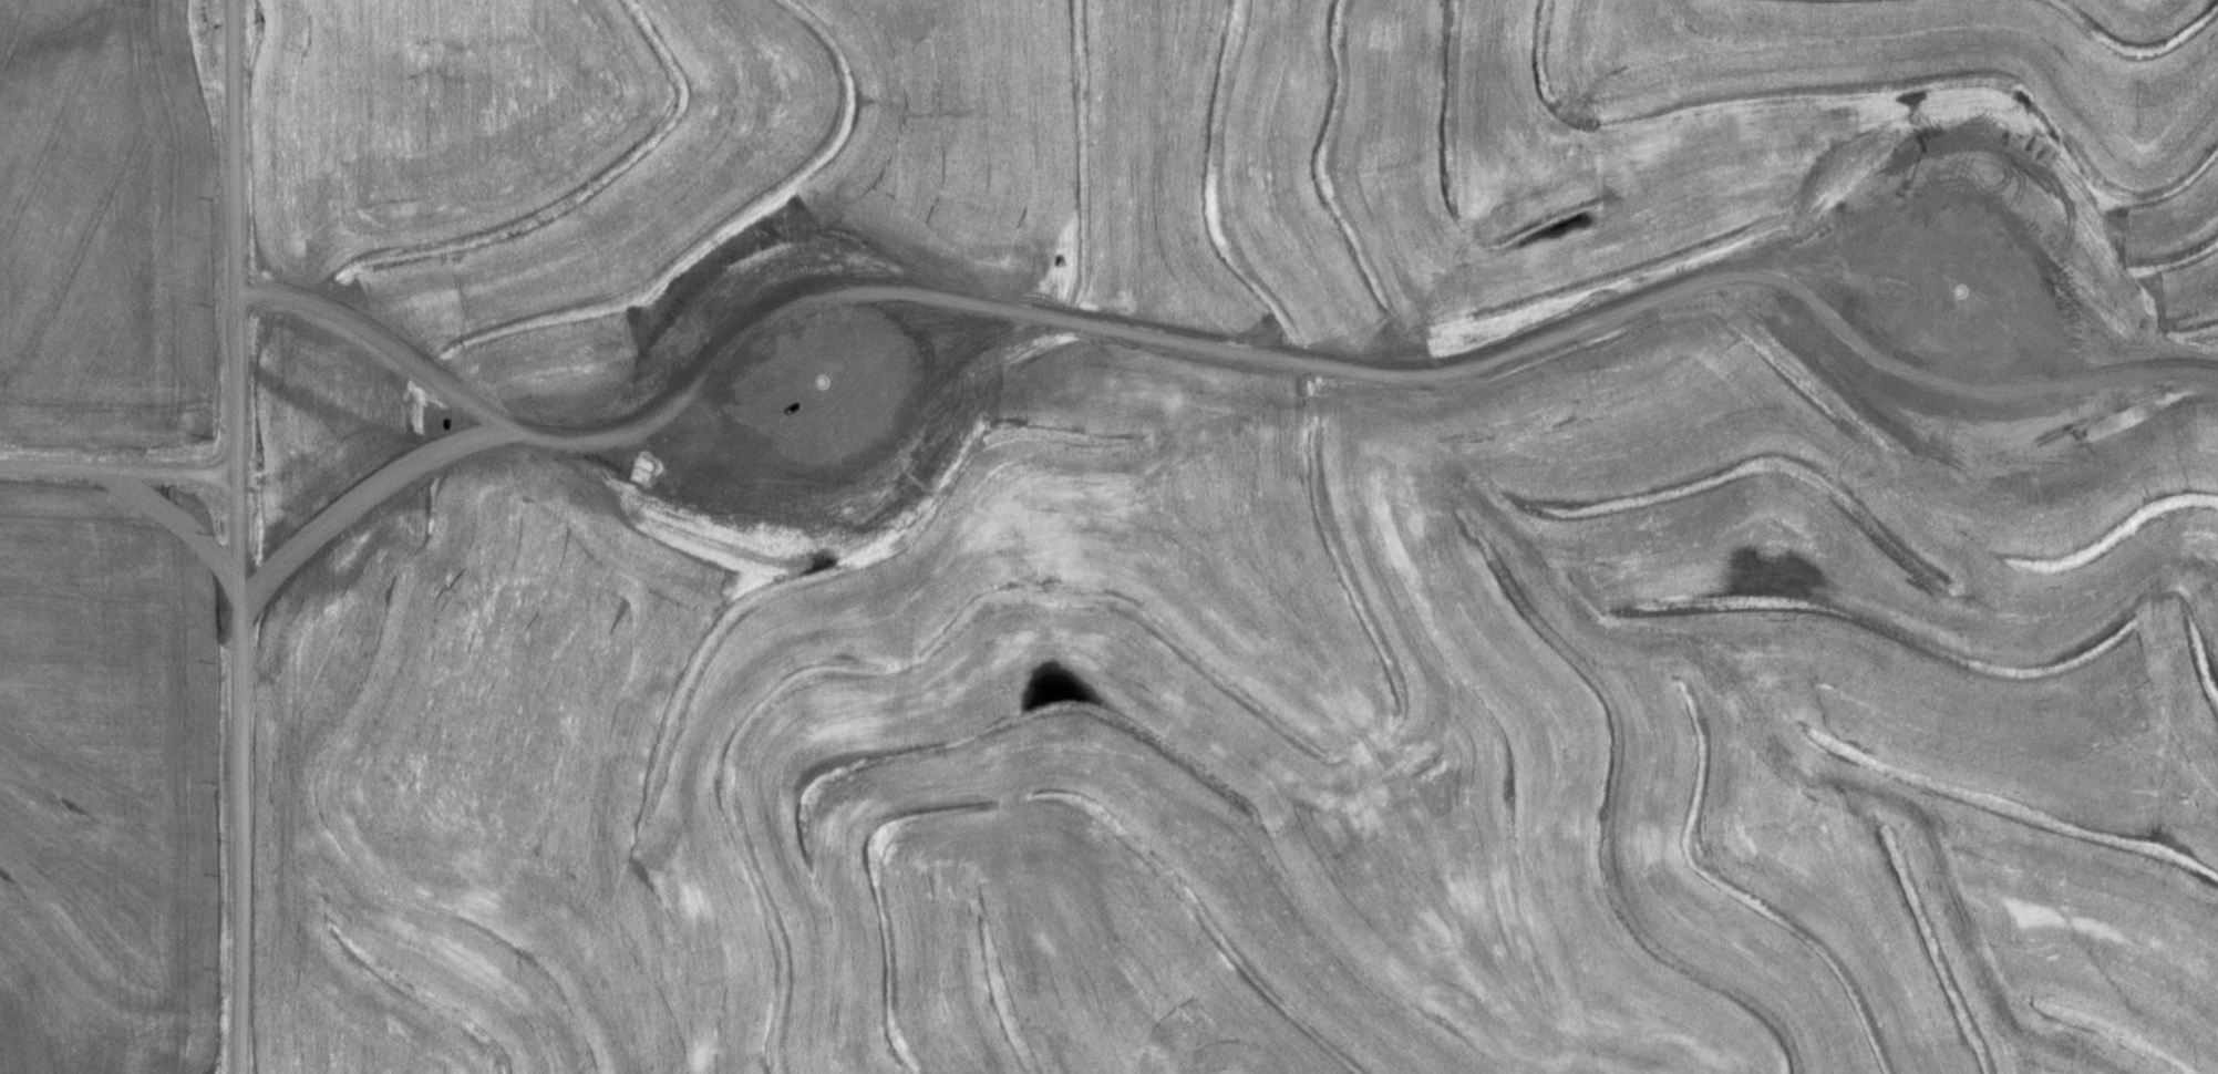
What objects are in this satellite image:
wind turbine: (1949, 291)
wind turbine: (815, 380)
road: (107, 493)
road: (215, 536)

